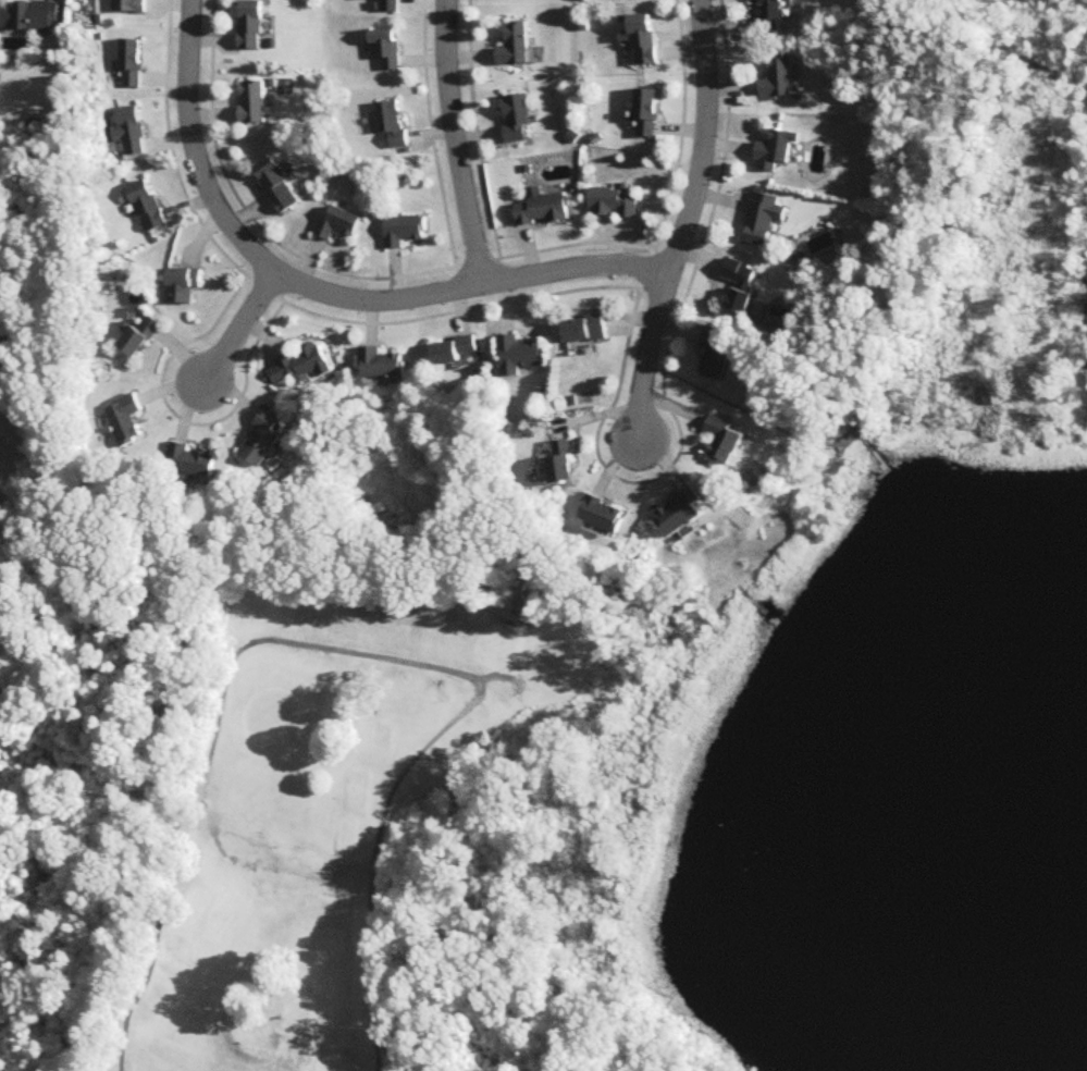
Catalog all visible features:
building: (131, 5)
building: (388, 5)
building: (30, 17)
building: (771, 19)
building: (254, 25)
building: (641, 40)
building: (515, 46)
building: (386, 50)
building: (132, 64)
building: (780, 81)
building: (255, 103)
building: (645, 114)
building: (518, 120)
building: (392, 123)
building: (129, 131)
road: (457, 143)
building: (777, 151)
road: (948, 169)
building: (276, 187)
building: (613, 205)
building: (146, 208)
building: (544, 209)
building: (764, 220)
building: (339, 224)
road: (681, 224)
building: (406, 231)
building: (182, 287)
road: (322, 290)
building: (743, 291)
road: (239, 328)
building: (583, 331)
building: (138, 338)
building: (457, 353)
building: (719, 353)
building: (520, 356)
building: (302, 364)
building: (383, 366)
building: (126, 420)
building: (264, 442)
building: (725, 442)
building: (194, 461)
building: (560, 465)
building: (681, 515)
building: (605, 516)
park: (310, 795)

